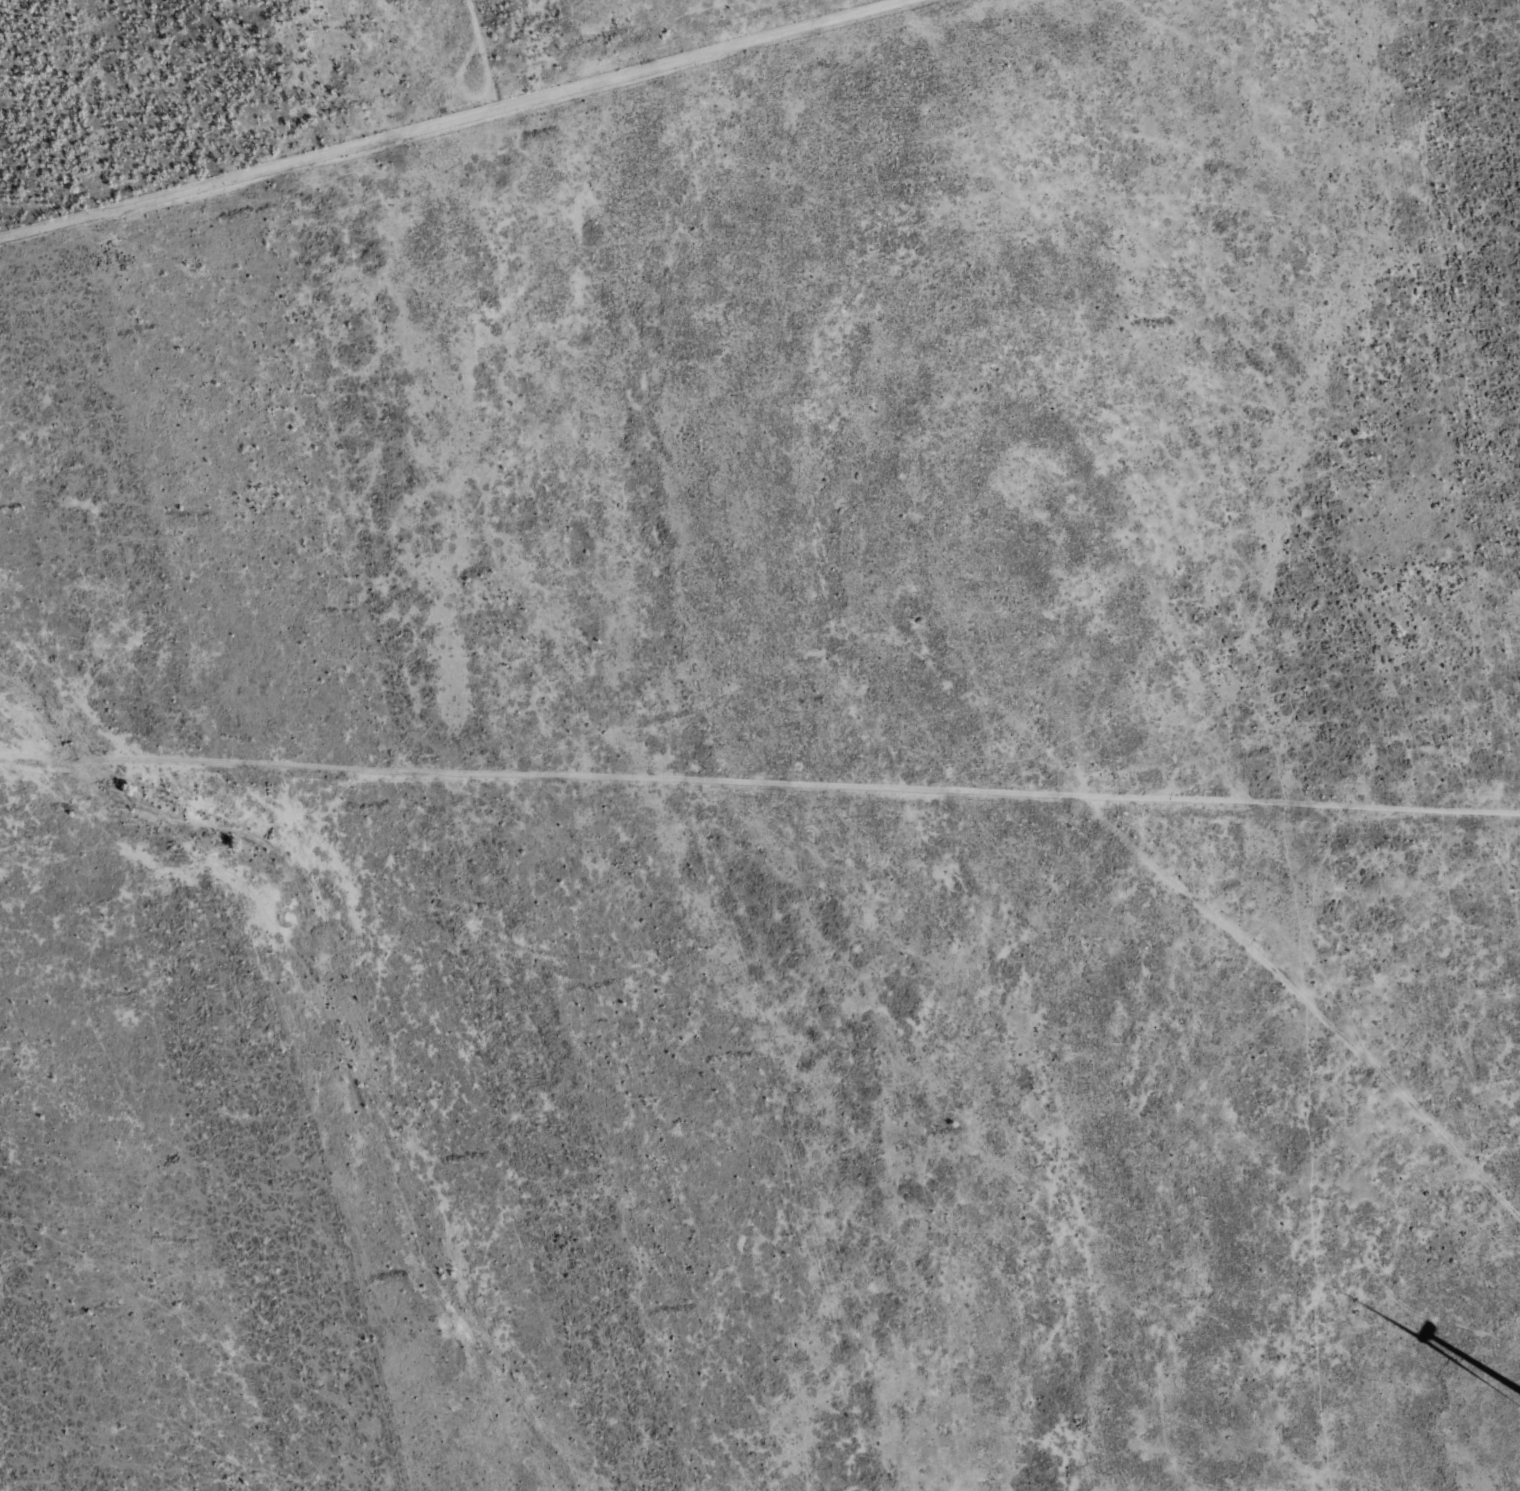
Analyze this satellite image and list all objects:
road: (836, 692)

